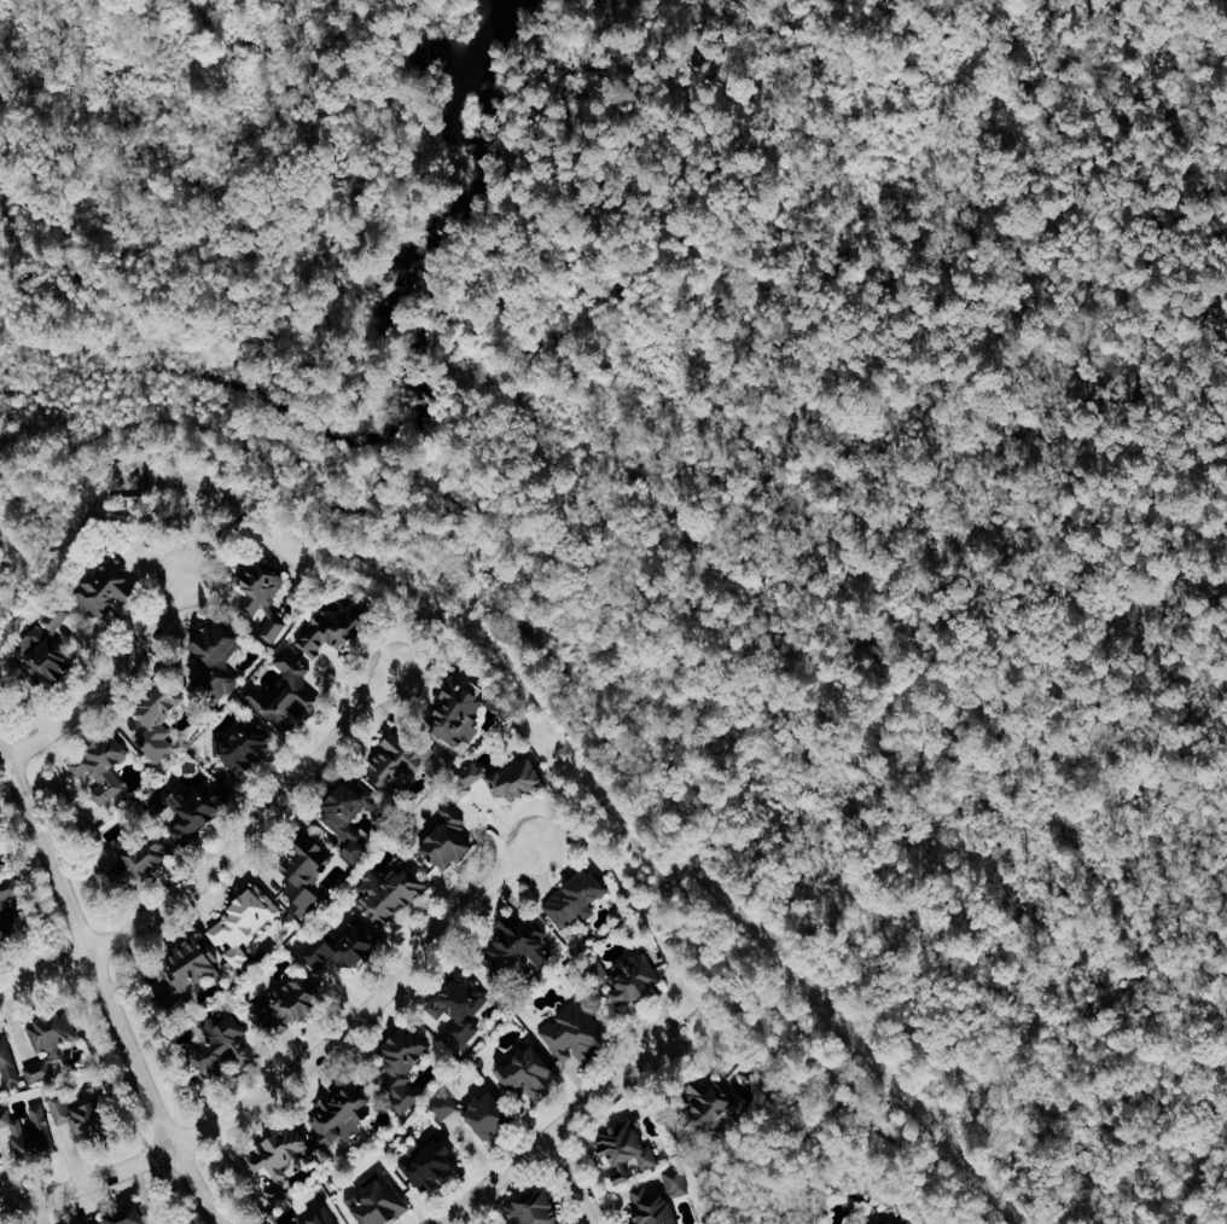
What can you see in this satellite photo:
park: (228, 193)
road: (208, 489)
road: (225, 495)
road: (228, 522)
building: (109, 586)
building: (262, 588)
building: (53, 621)
road: (440, 627)
building: (274, 630)
building: (337, 630)
road: (547, 651)
building: (220, 654)
building: (50, 657)
road: (104, 683)
building: (291, 692)
building: (458, 708)
building: (162, 719)
building: (249, 746)
building: (402, 759)
building: (104, 767)
building: (508, 776)
building: (188, 810)
road: (583, 814)
building: (351, 817)
building: (449, 837)
building: (139, 859)
road: (219, 862)
building: (307, 874)
building: (392, 894)
building: (577, 899)
building: (5, 911)
building: (246, 923)
building: (524, 941)
building: (345, 947)
building: (188, 967)
building: (634, 980)
road: (103, 984)
building: (291, 1002)
building: (463, 1009)
road: (696, 1009)
building: (576, 1036)
building: (51, 1045)
building: (221, 1045)
building: (8, 1060)
building: (405, 1066)
road: (295, 1071)
building: (530, 1074)
building: (719, 1102)
building: (446, 1106)
building: (85, 1115)
building: (343, 1115)
building: (490, 1115)
building: (6, 1118)
building: (37, 1137)
road: (552, 1138)
building: (629, 1150)
road: (787, 1150)
building: (280, 1152)
building: (1, 1161)
building: (434, 1165)
road: (575, 1181)
building: (679, 1181)
building: (379, 1203)
building: (540, 1207)
building: (652, 1207)
building: (325, 1217)
building: (894, 1220)
building: (97, 1223)

